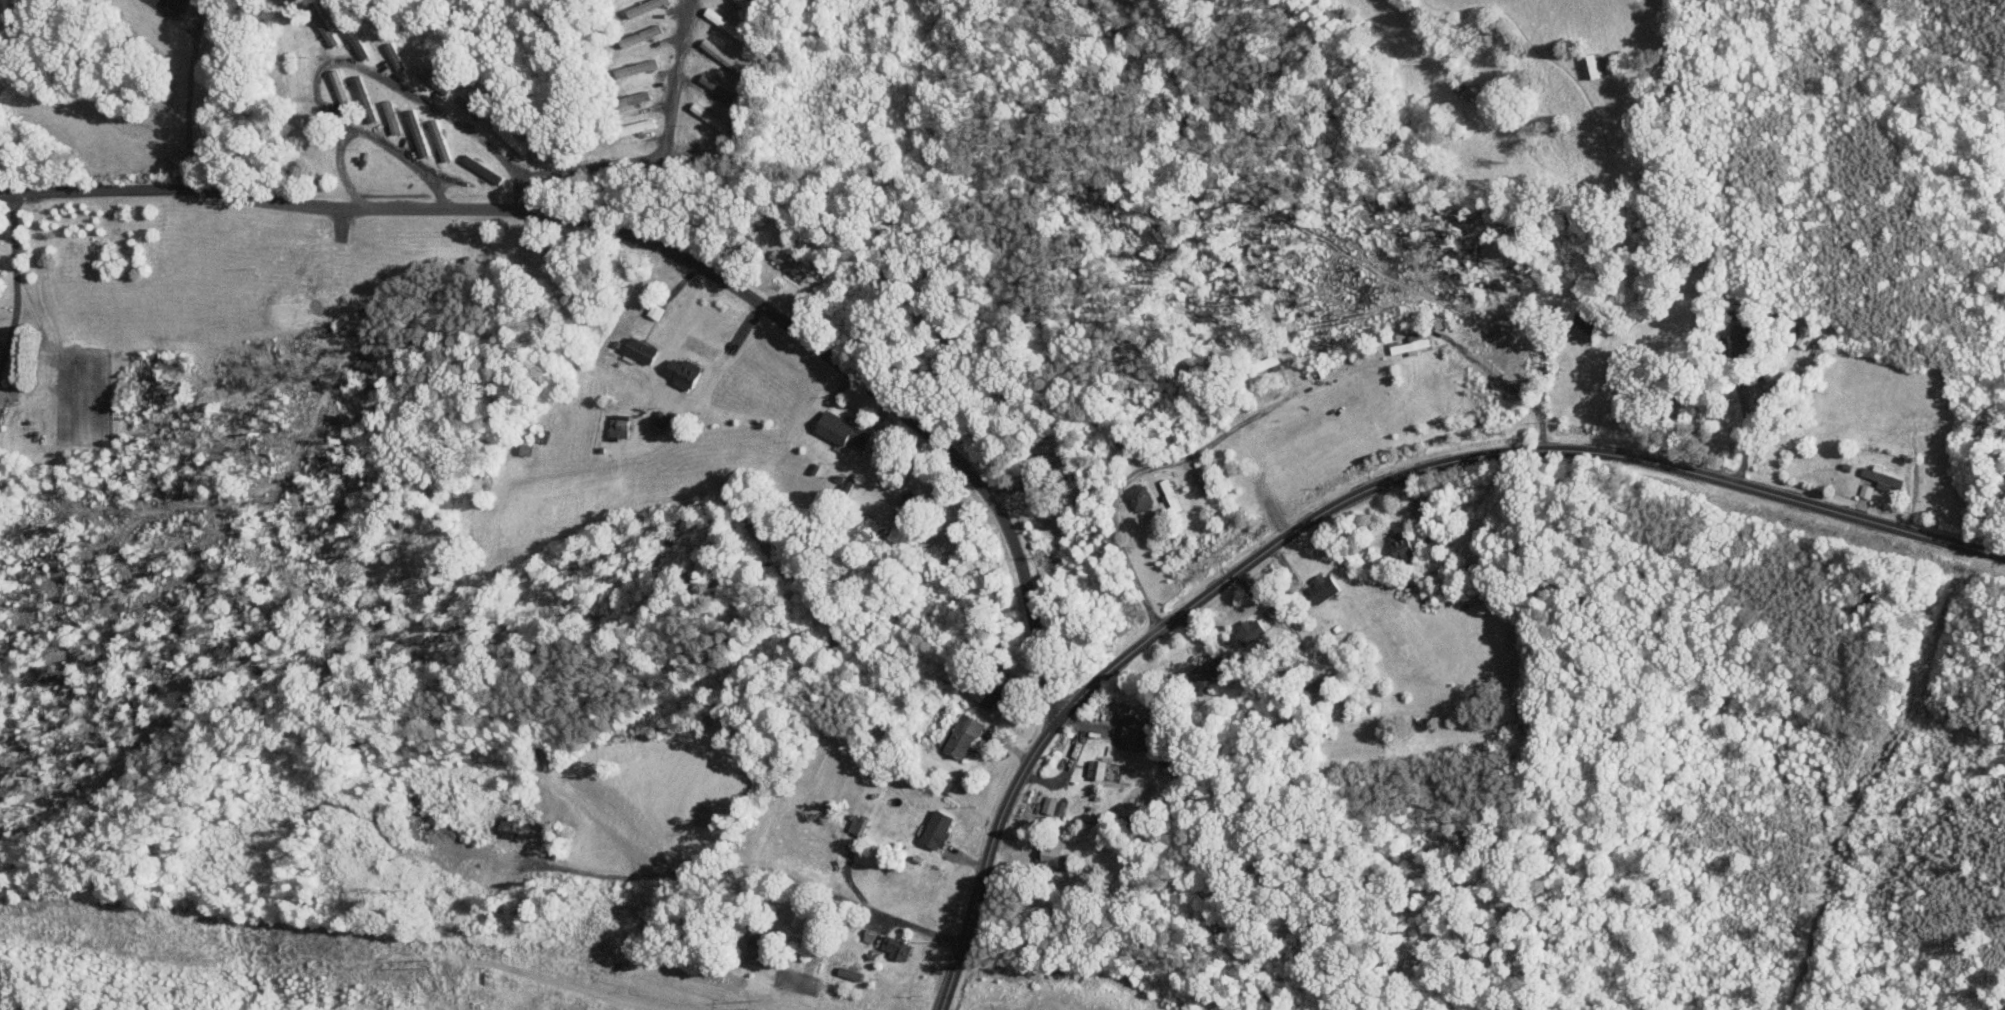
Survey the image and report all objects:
building: (714, 51)
building: (395, 56)
road: (345, 61)
building: (1593, 65)
building: (718, 87)
road: (207, 91)
building: (395, 124)
building: (418, 133)
building: (440, 140)
road: (655, 153)
building: (483, 169)
road: (660, 243)
road: (16, 281)
building: (1583, 326)
building: (1742, 341)
building: (1411, 342)
building: (641, 348)
building: (684, 371)
road: (1545, 383)
building: (1, 417)
building: (659, 420)
building: (619, 425)
building: (844, 429)
road: (1744, 432)
building: (1883, 477)
building: (1167, 490)
building: (918, 495)
building: (1140, 497)
road: (1347, 499)
building: (1400, 544)
building: (1324, 587)
building: (1251, 630)
building: (1208, 671)
building: (992, 687)
building: (1135, 733)
building: (963, 734)
building: (1095, 768)
building: (1052, 805)
building: (937, 828)
building: (1051, 855)
road: (741, 865)
building: (752, 941)
building: (894, 947)
power tower: (427, 963)
building: (849, 973)
power tower: (761, 1003)

